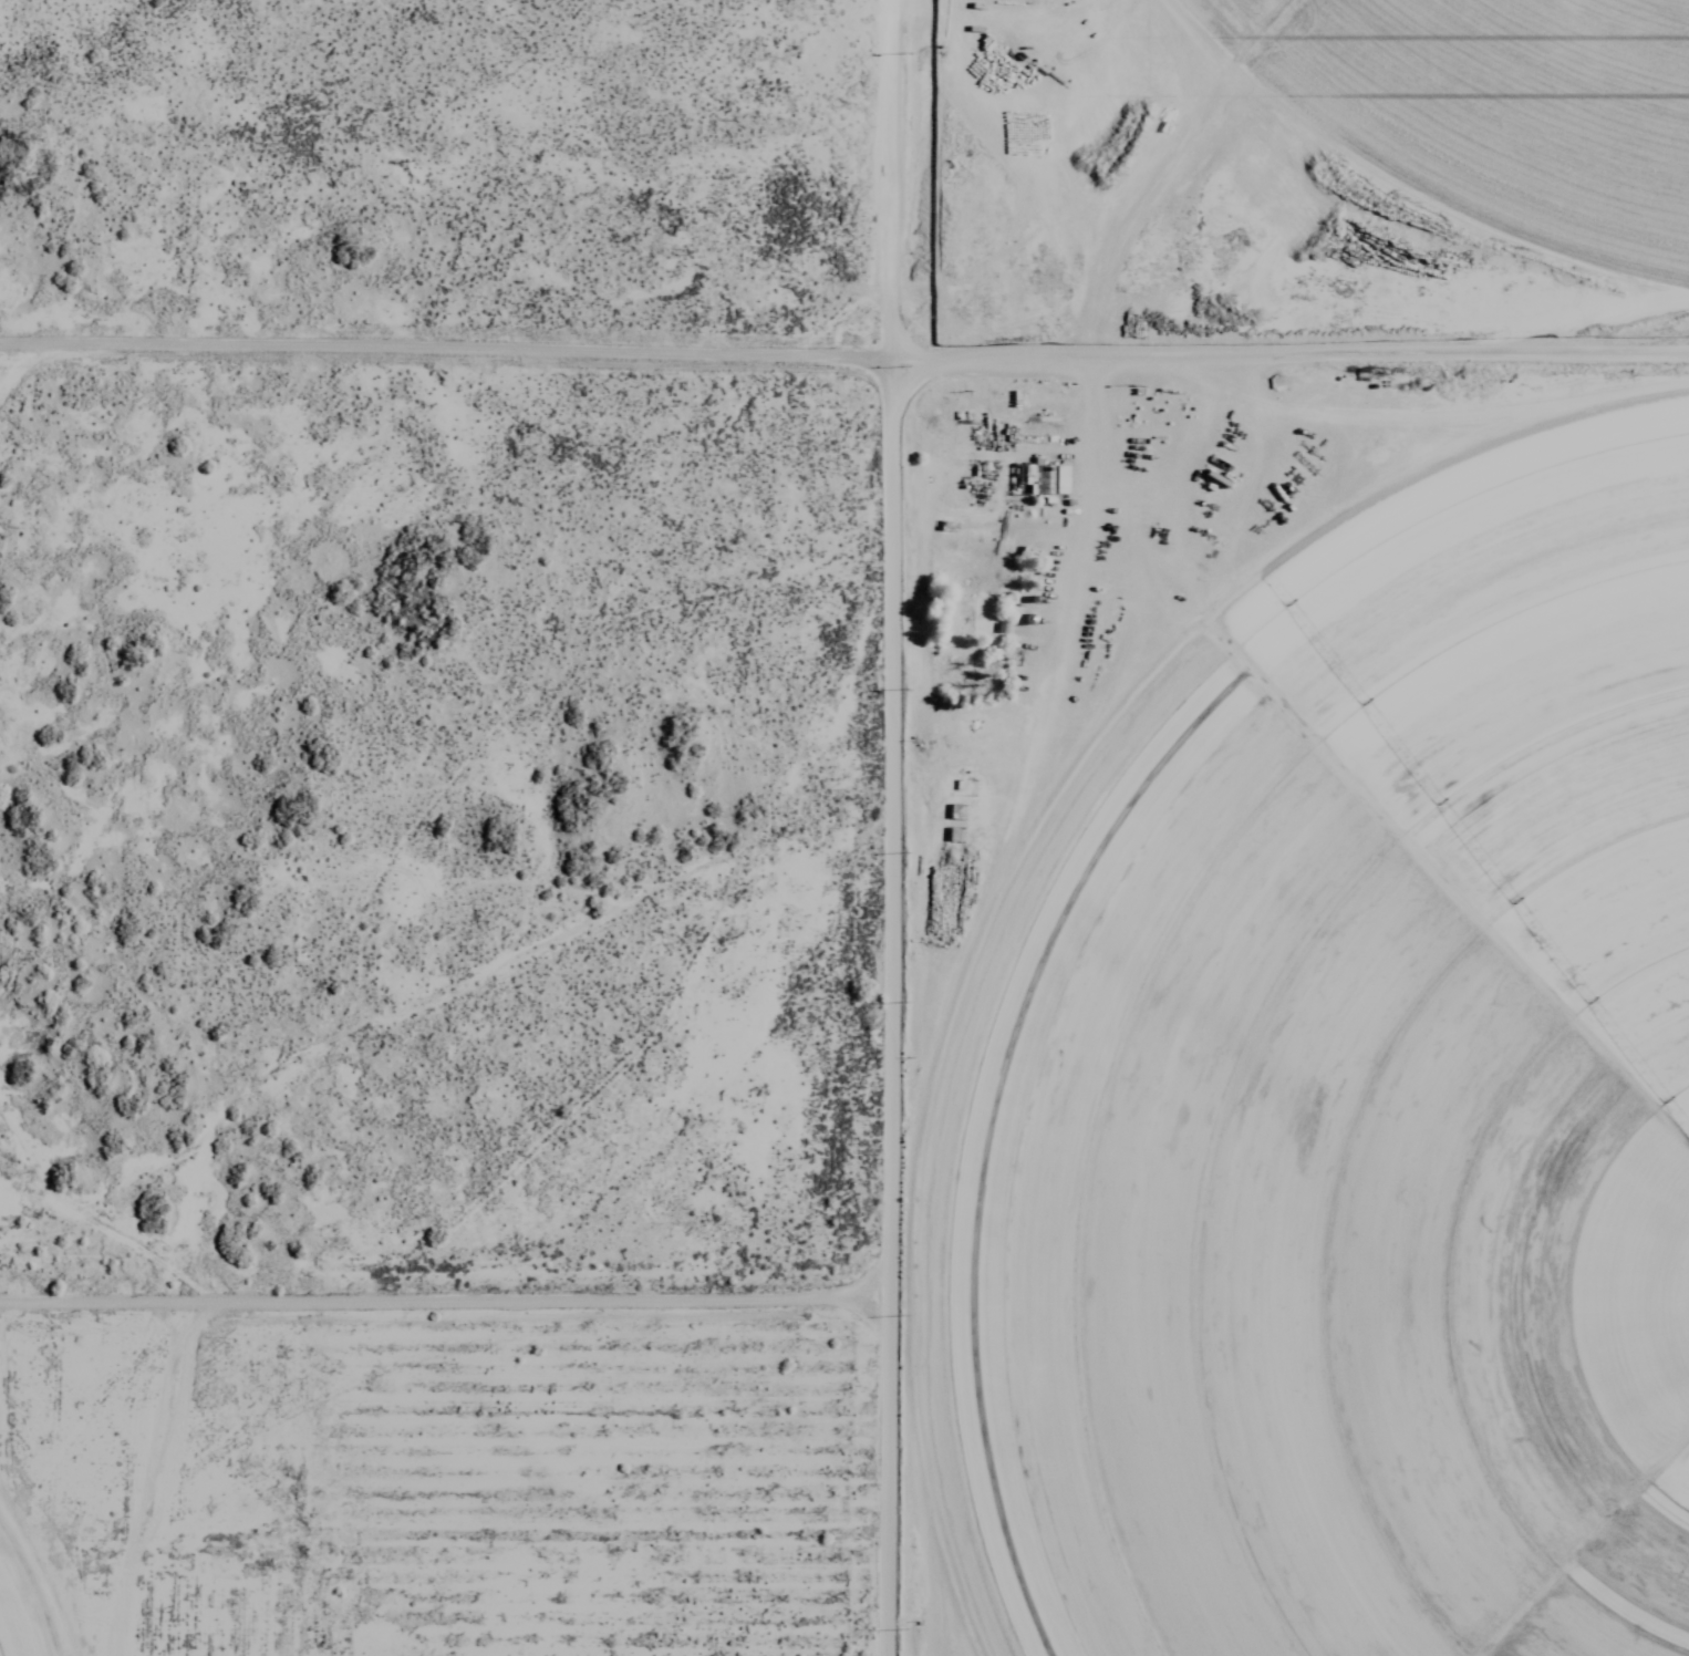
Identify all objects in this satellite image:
building: (1028, 30)
crop: (1502, 105)
road: (897, 182)
road: (844, 362)
building: (1047, 475)
road: (888, 1010)
crop: (1357, 1109)
crop: (20, 1614)

